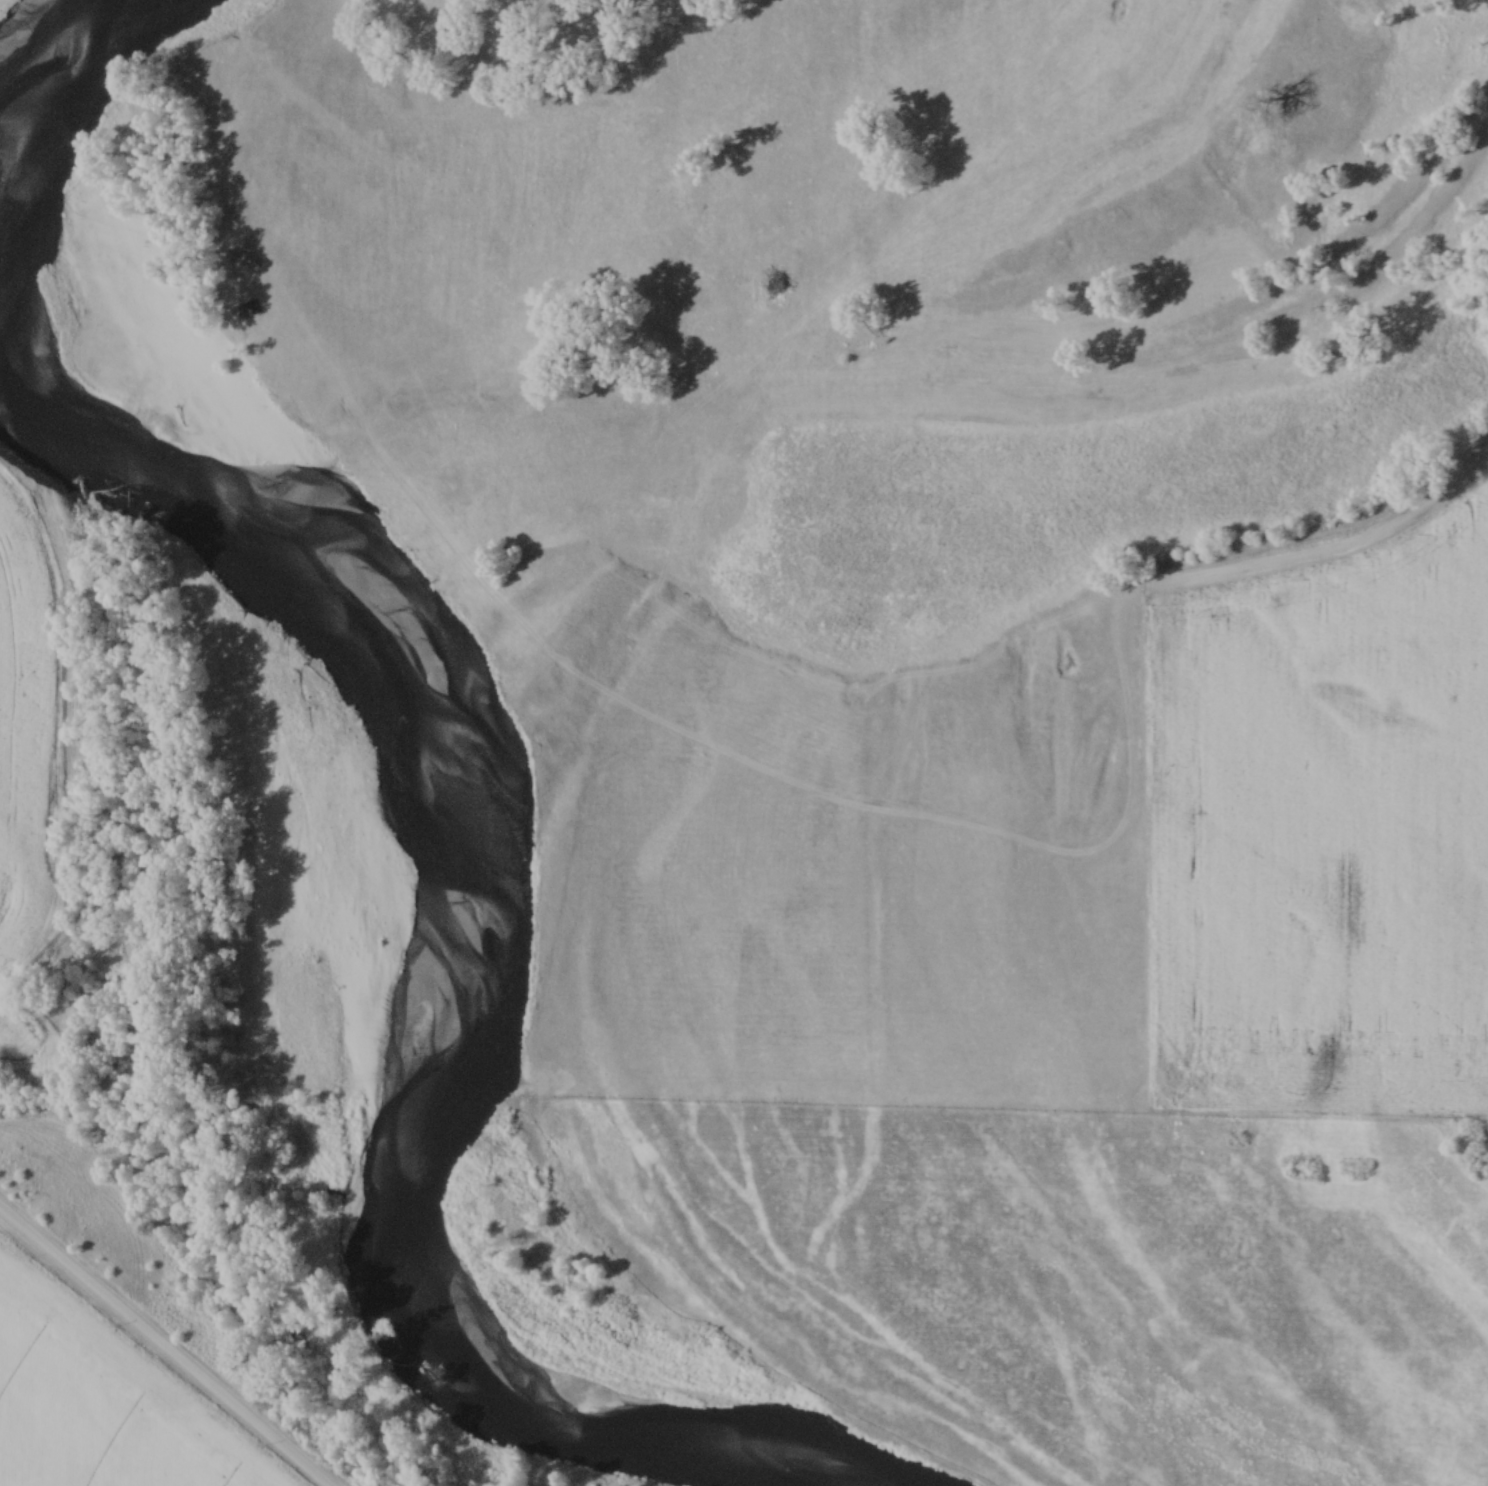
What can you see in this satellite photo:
river: (36, 74)
river: (459, 963)
road: (159, 1350)

